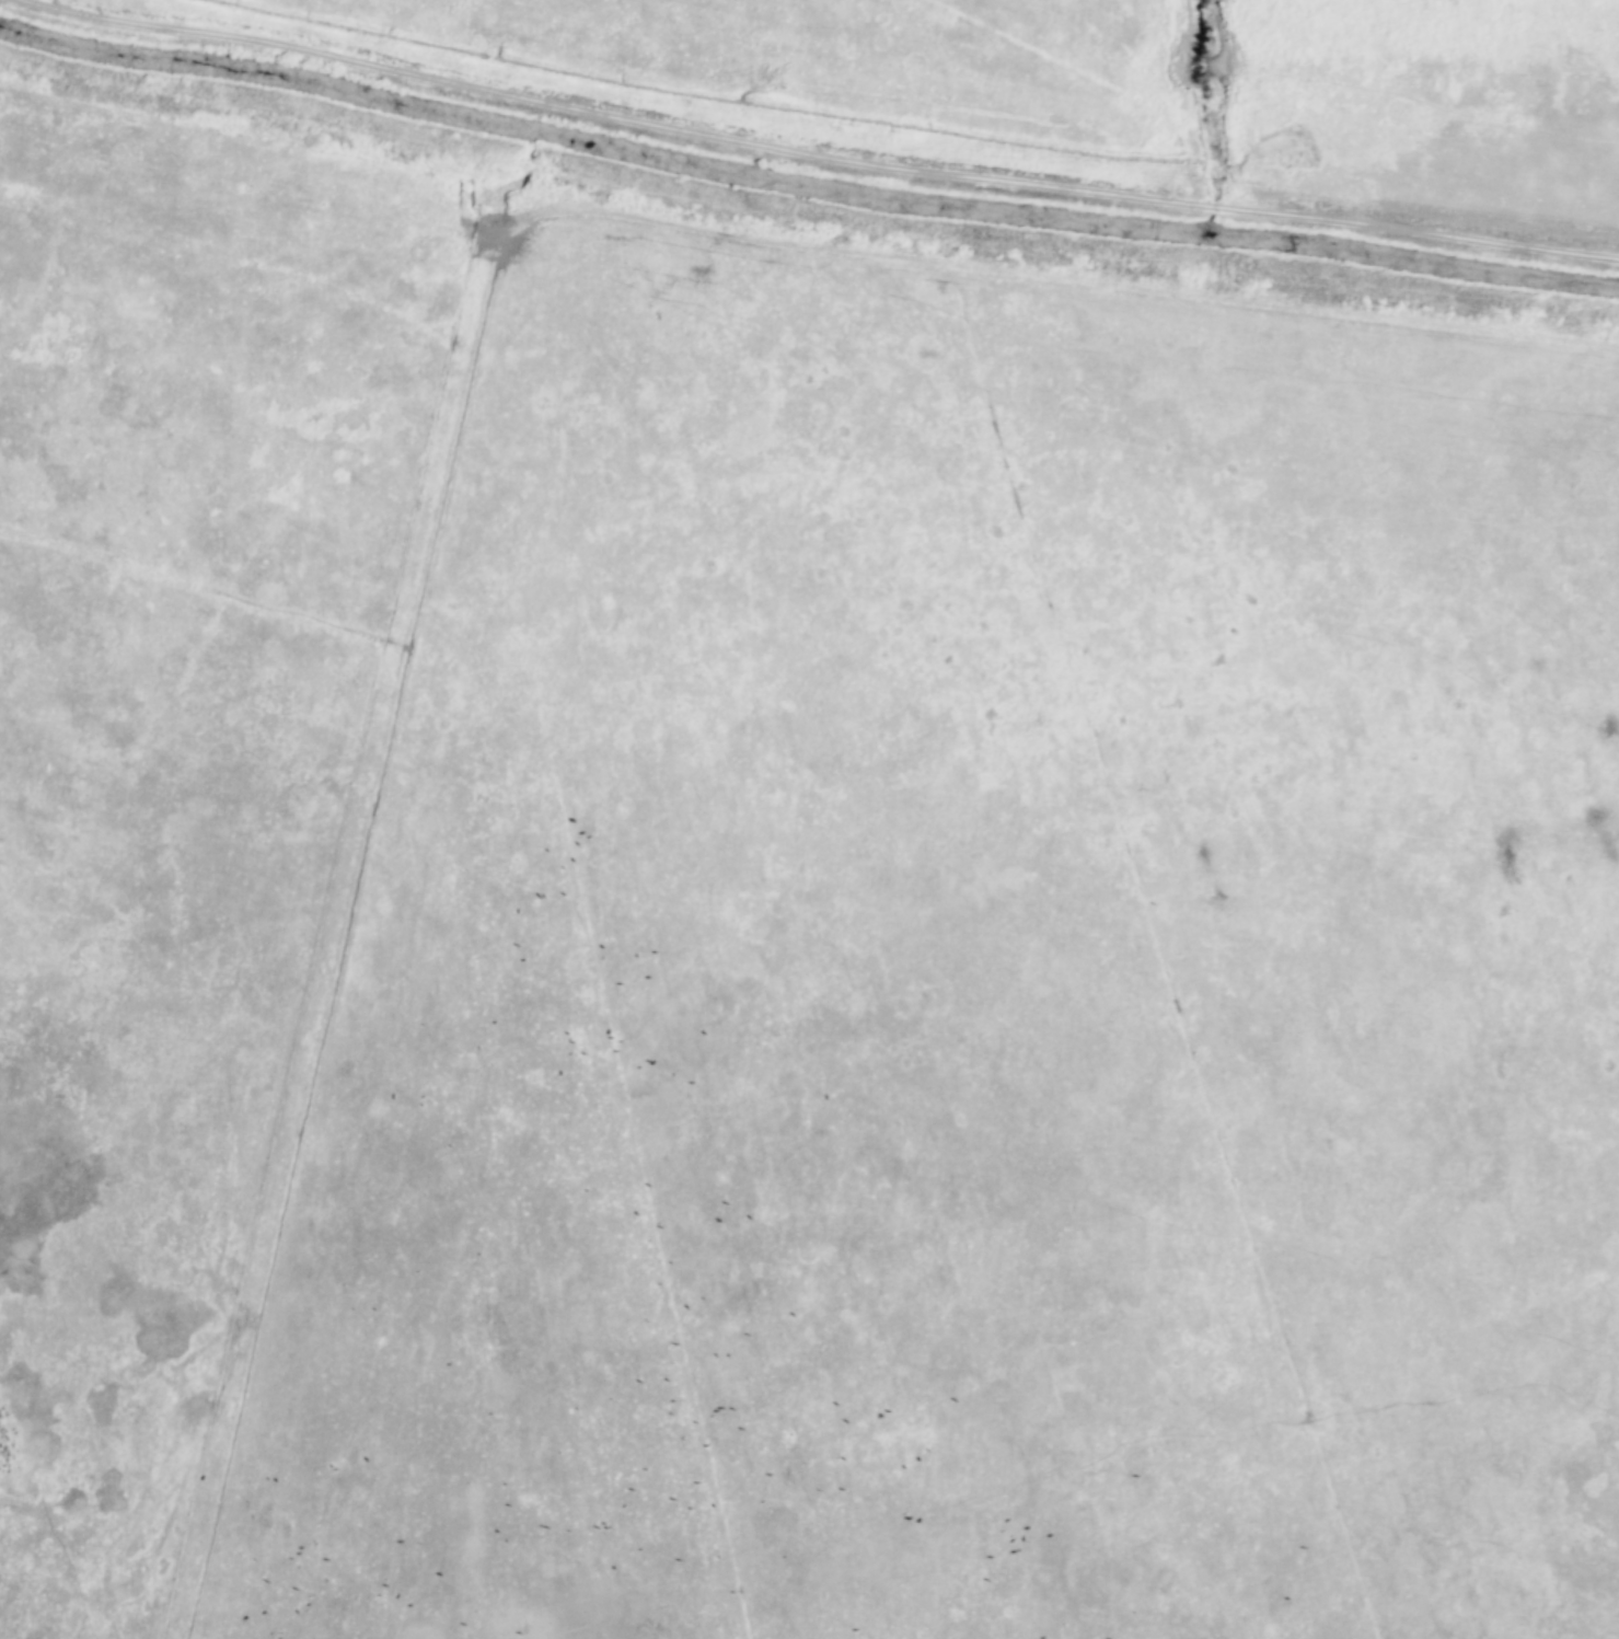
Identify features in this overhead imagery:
road: (802, 240)

